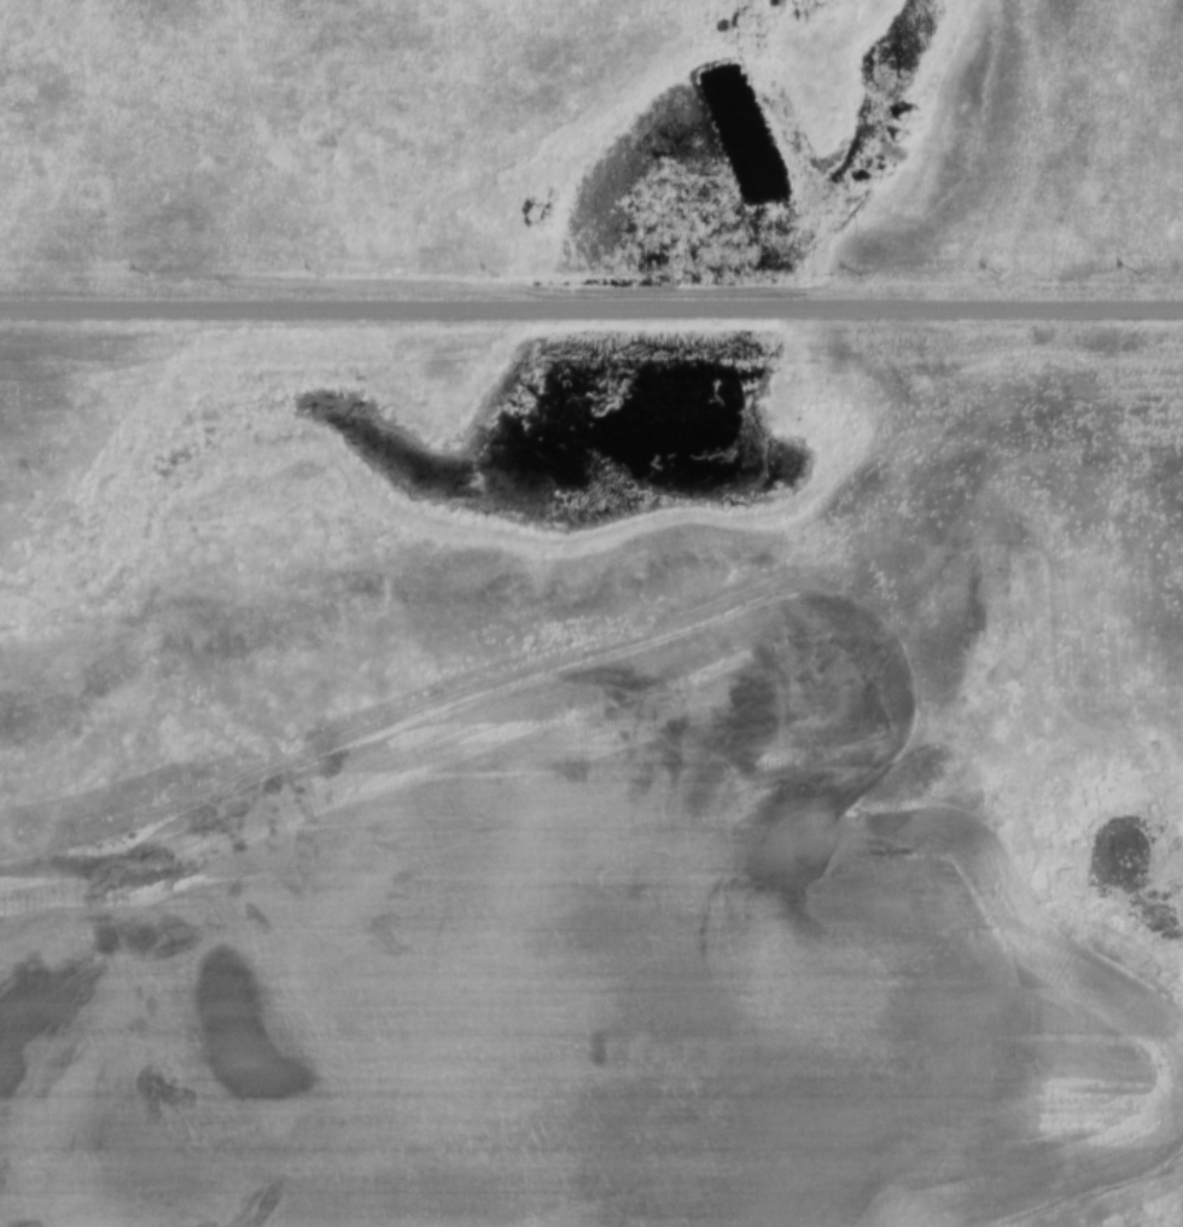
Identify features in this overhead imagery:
road: (591, 309)

